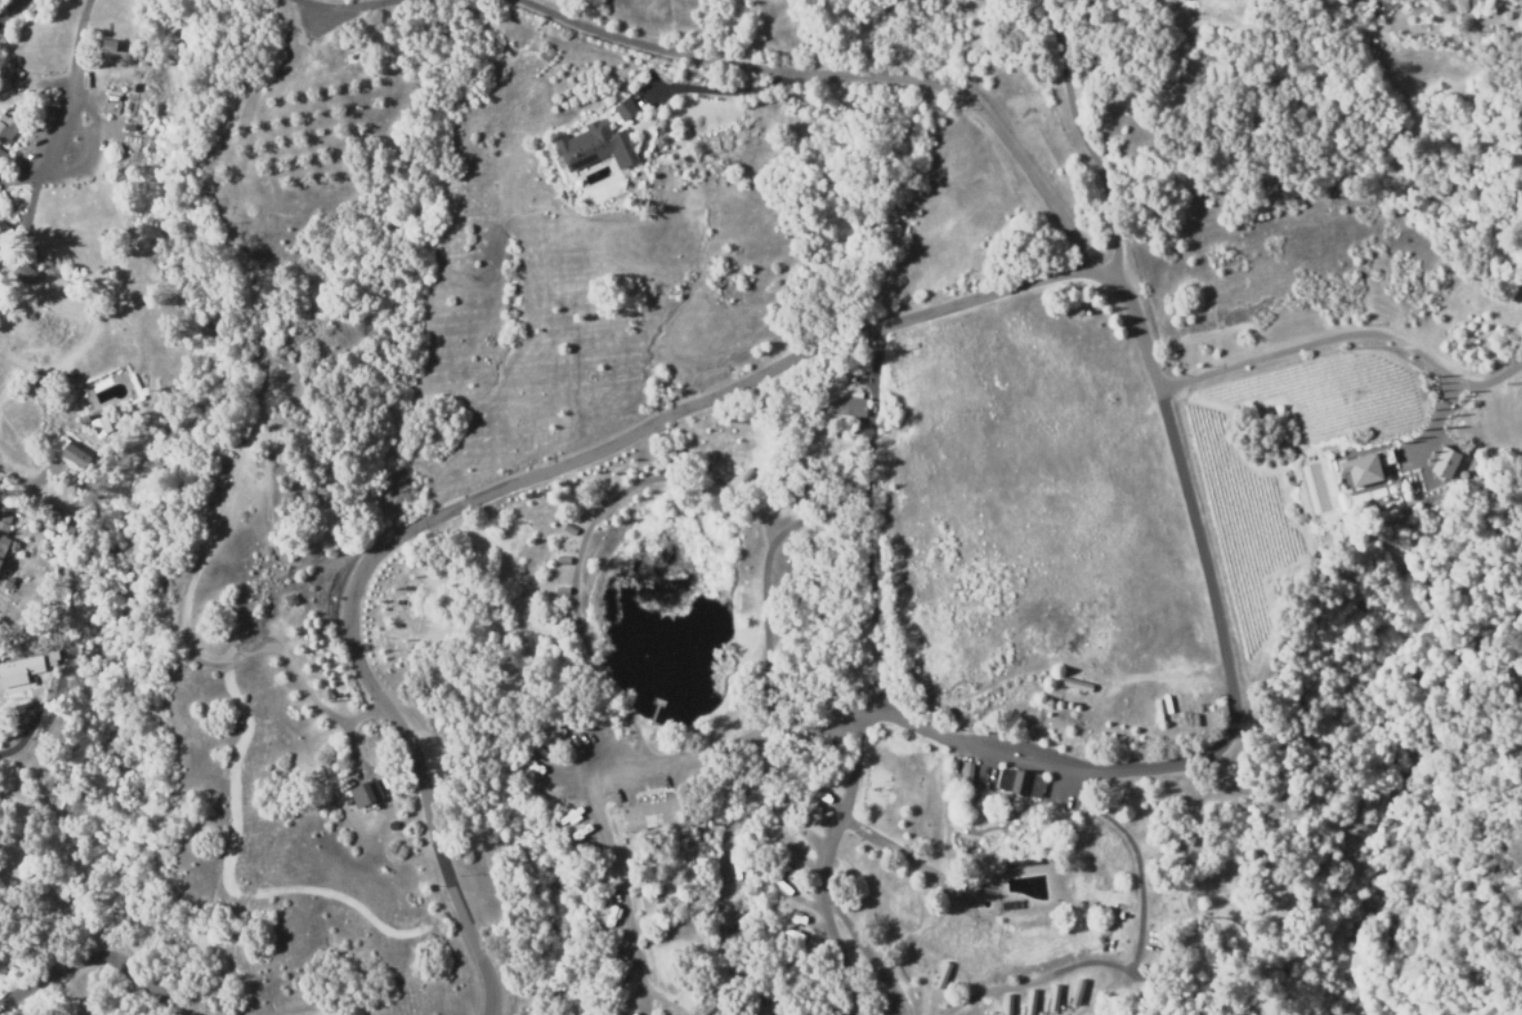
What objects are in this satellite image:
road: (346, 1)
road: (8, 9)
road: (79, 25)
building: (107, 42)
building: (548, 49)
road: (840, 69)
building: (122, 101)
building: (623, 112)
building: (7, 129)
road: (1090, 138)
building: (596, 147)
building: (3, 157)
building: (25, 273)
building: (903, 350)
road: (1267, 354)
building: (843, 405)
building: (102, 426)
building: (77, 456)
building: (710, 456)
building: (1365, 462)
building: (1447, 462)
building: (1464, 472)
building: (748, 474)
road: (25, 484)
road: (491, 490)
building: (569, 527)
building: (7, 540)
building: (563, 560)
building: (406, 584)
building: (562, 590)
building: (291, 600)
building: (394, 606)
building: (385, 627)
building: (18, 671)
building: (1076, 687)
building: (326, 695)
building: (1077, 728)
road: (1222, 743)
building: (967, 773)
building: (726, 778)
building: (1020, 783)
building: (365, 793)
building: (658, 814)
road: (733, 818)
building: (1023, 862)
road: (829, 871)
building: (1010, 904)
road: (1133, 955)
road: (99, 963)
building: (942, 977)
building: (1077, 994)
building: (1053, 999)
building: (1030, 1003)
building: (1006, 1005)
building: (710, 1009)

